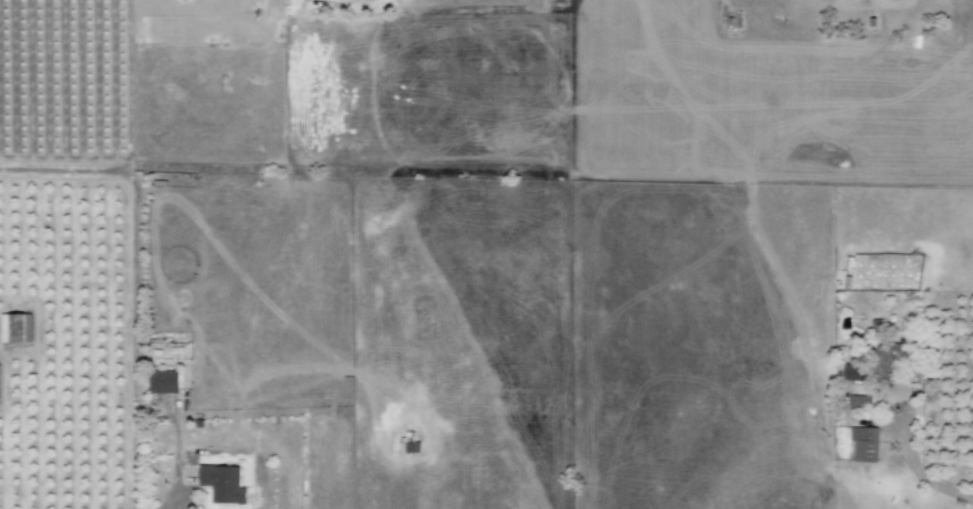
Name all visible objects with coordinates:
road: (141, 312)
building: (15, 328)
building: (886, 361)
building: (850, 373)
building: (162, 382)
building: (859, 402)
building: (407, 443)
building: (863, 444)
building: (221, 484)

